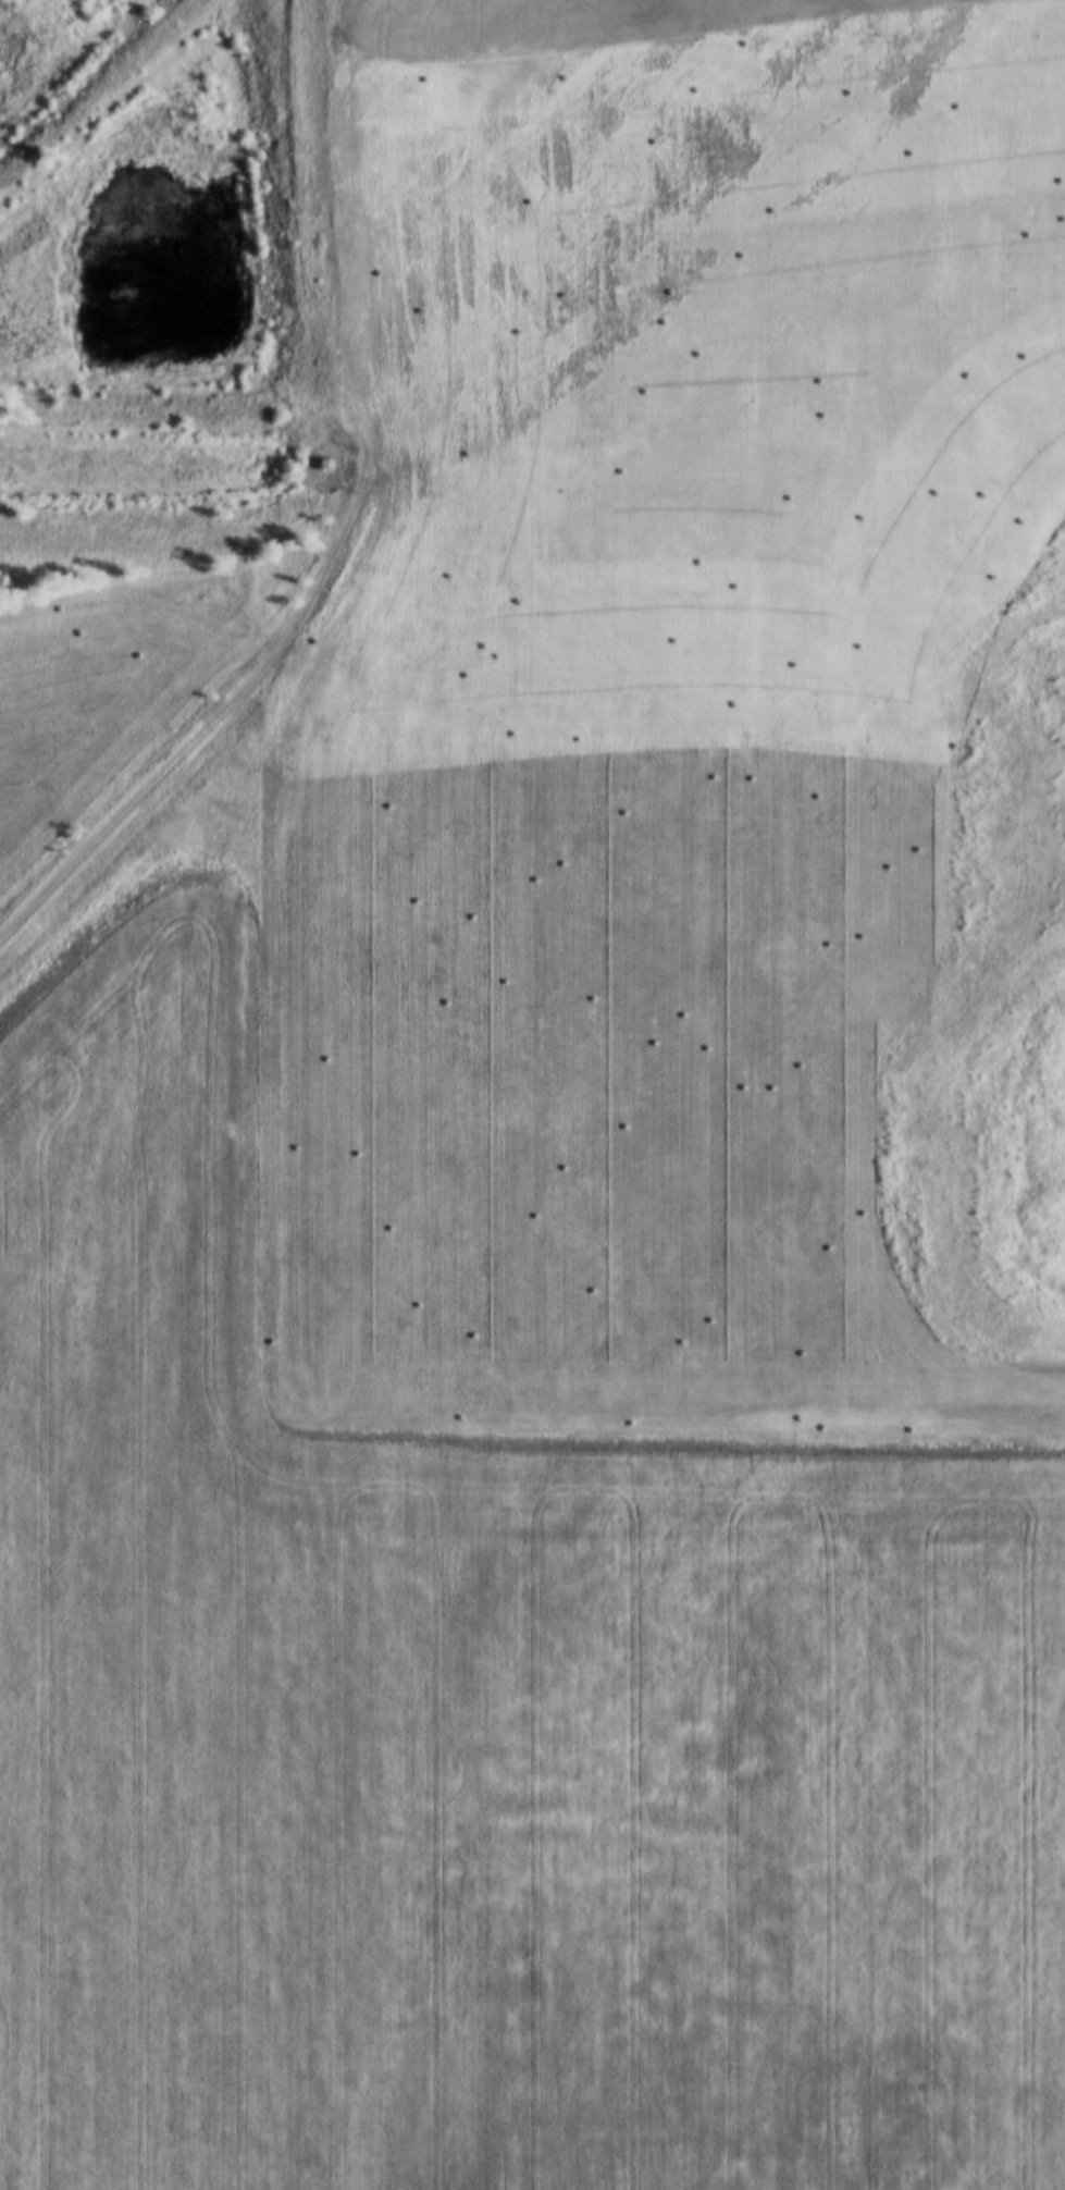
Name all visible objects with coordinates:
building: (324, 468)
road: (356, 533)
road: (495, 1012)

